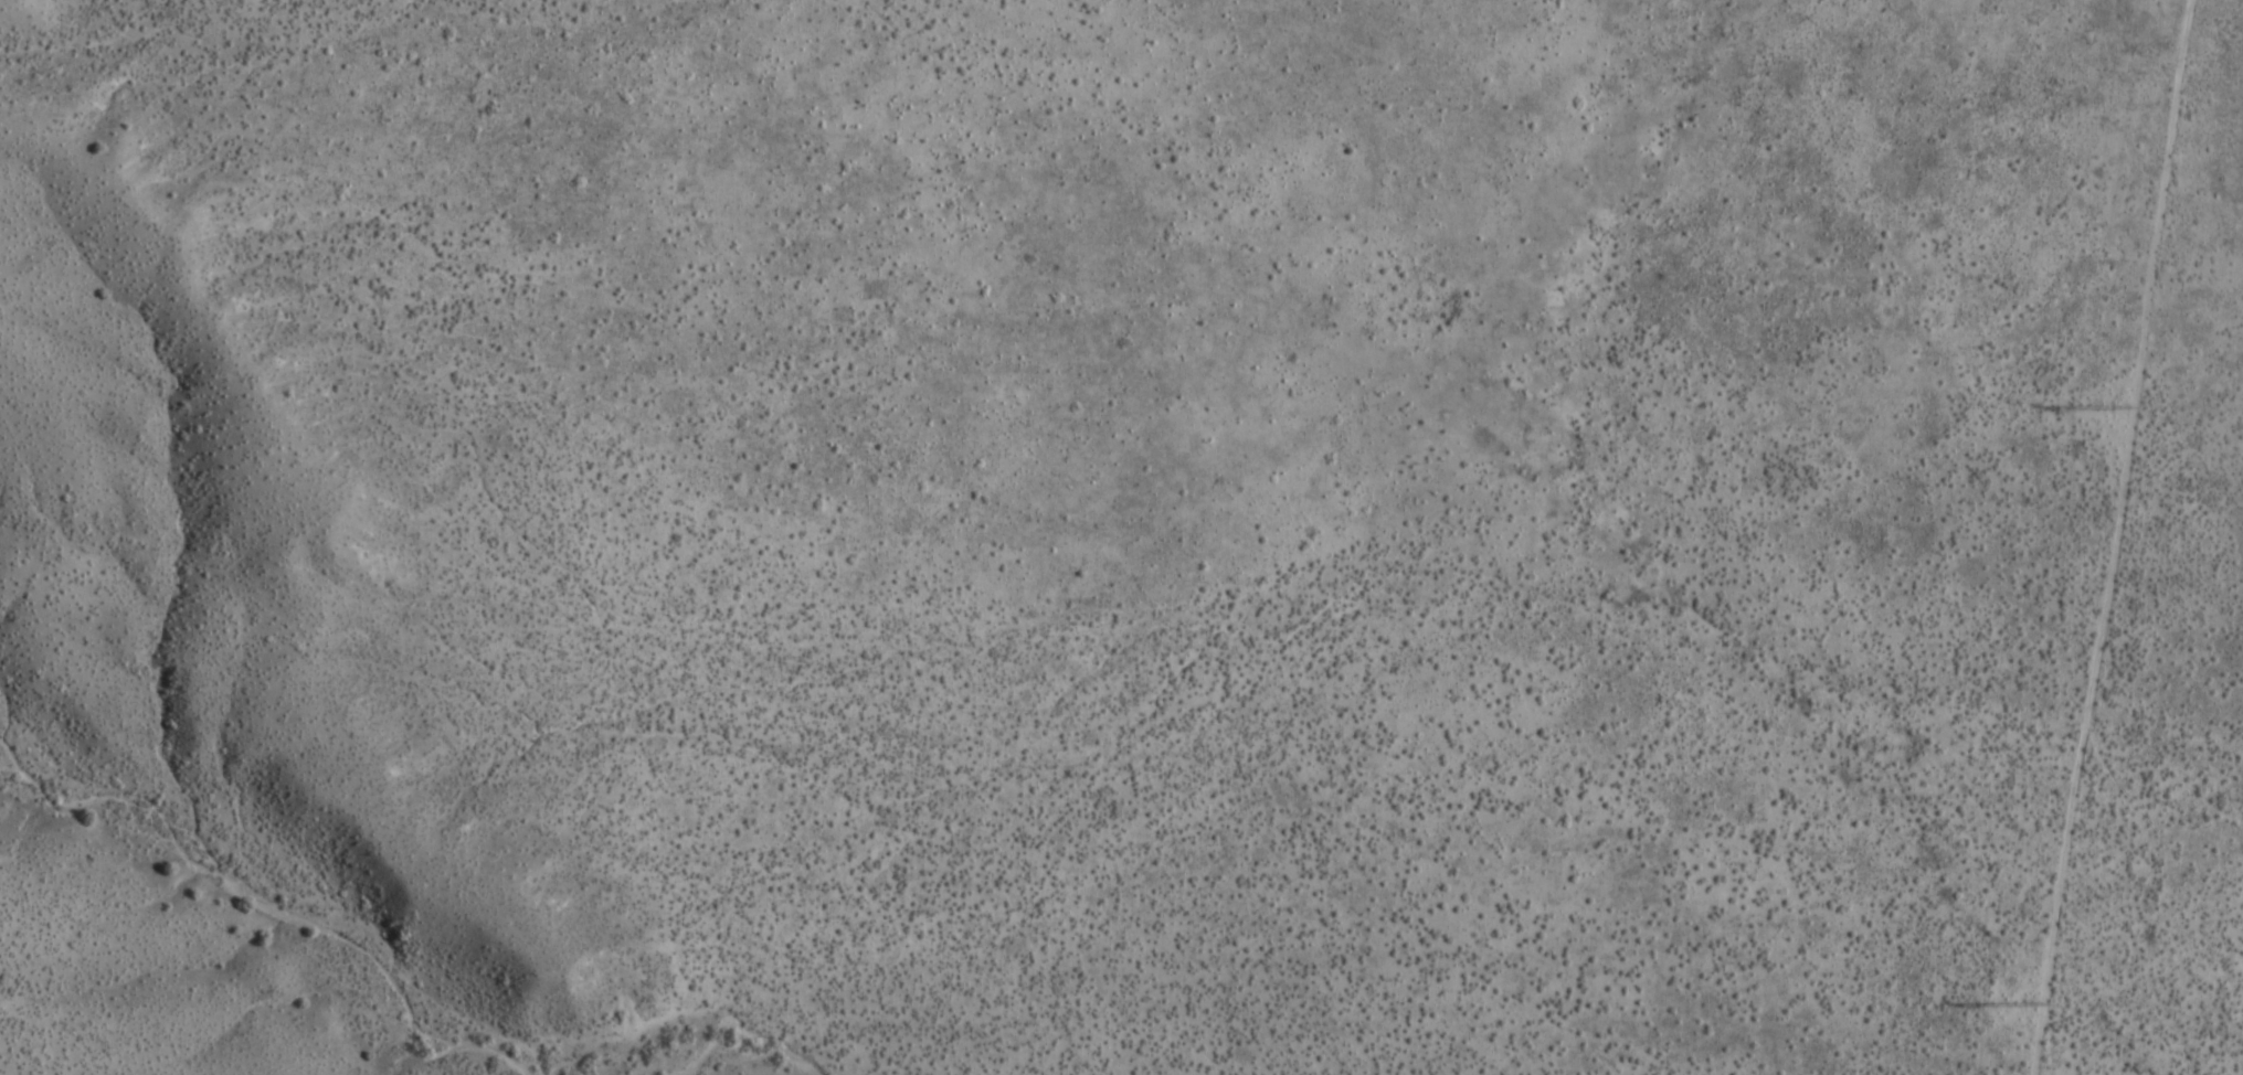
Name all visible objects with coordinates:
power tower: (2109, 408)
power tower: (2019, 1002)

